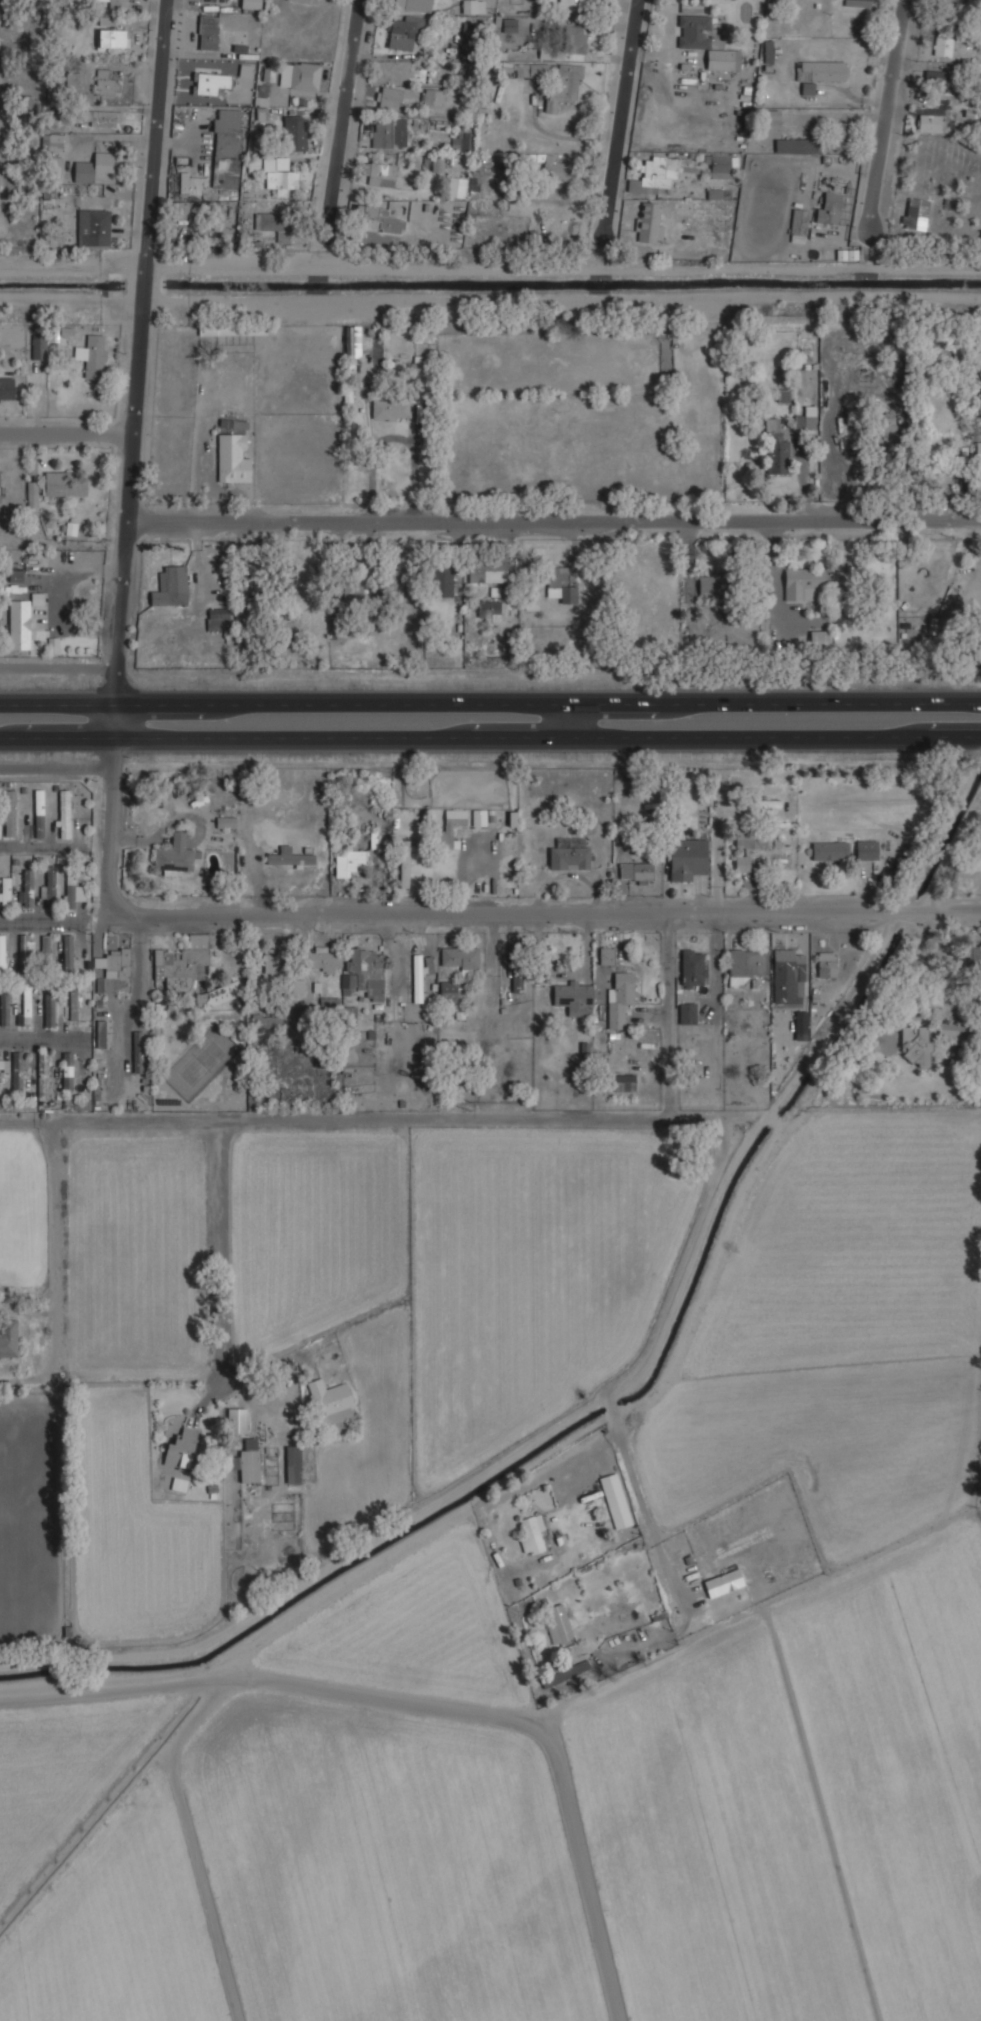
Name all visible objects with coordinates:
building: (302, 0)
building: (573, 2)
building: (856, 2)
building: (117, 4)
building: (250, 4)
building: (417, 5)
building: (106, 20)
building: (509, 25)
building: (404, 30)
building: (208, 31)
building: (465, 36)
building: (112, 37)
building: (703, 37)
building: (572, 39)
building: (942, 44)
building: (526, 68)
building: (818, 72)
building: (299, 74)
building: (268, 75)
building: (932, 76)
building: (73, 78)
building: (210, 82)
building: (419, 82)
building: (105, 83)
building: (563, 85)
building: (390, 97)
building: (261, 108)
building: (106, 117)
road: (885, 120)
road: (344, 121)
road: (614, 121)
building: (768, 122)
building: (931, 122)
building: (388, 131)
building: (296, 132)
building: (840, 135)
building: (465, 138)
building: (51, 140)
building: (224, 145)
building: (794, 145)
building: (437, 162)
building: (56, 163)
building: (720, 165)
building: (93, 167)
building: (556, 168)
building: (379, 173)
building: (655, 173)
building: (278, 177)
building: (189, 182)
building: (455, 186)
building: (829, 206)
building: (914, 213)
building: (380, 218)
building: (268, 220)
building: (798, 221)
building: (648, 222)
building: (95, 228)
building: (211, 239)
building: (231, 329)
building: (353, 341)
building: (38, 347)
building: (92, 355)
building: (350, 364)
building: (6, 389)
building: (389, 408)
building: (810, 416)
building: (798, 421)
building: (886, 424)
road: (68, 438)
building: (978, 451)
building: (233, 456)
building: (777, 456)
road: (134, 457)
building: (64, 483)
building: (31, 493)
road: (555, 523)
building: (487, 571)
building: (16, 575)
building: (357, 579)
building: (249, 580)
building: (441, 580)
building: (802, 580)
building: (711, 583)
building: (170, 584)
building: (559, 588)
building: (488, 610)
building: (217, 618)
building: (19, 624)
building: (819, 638)
road: (61, 668)
road: (60, 702)
road: (550, 702)
road: (569, 720)
road: (490, 737)
building: (770, 802)
building: (9, 812)
building: (38, 812)
building: (64, 812)
building: (479, 816)
building: (512, 819)
building: (225, 822)
building: (449, 827)
building: (750, 839)
road: (38, 846)
building: (844, 849)
building: (569, 853)
building: (174, 856)
building: (289, 856)
building: (686, 856)
building: (349, 861)
building: (741, 862)
building: (404, 868)
building: (635, 872)
building: (26, 886)
building: (49, 886)
building: (72, 886)
building: (4, 891)
road: (544, 913)
road: (39, 921)
building: (2, 953)
building: (46, 953)
building: (69, 954)
building: (24, 955)
building: (606, 955)
building: (970, 956)
building: (324, 958)
building: (460, 958)
building: (113, 961)
building: (788, 961)
building: (271, 962)
building: (826, 963)
building: (745, 965)
building: (515, 967)
building: (692, 967)
building: (191, 971)
building: (364, 972)
building: (419, 972)
building: (297, 984)
building: (447, 990)
building: (573, 996)
building: (619, 996)
building: (329, 1002)
building: (73, 1004)
building: (48, 1005)
building: (26, 1006)
building: (4, 1008)
building: (686, 1012)
road: (668, 1015)
building: (953, 1030)
building: (299, 1031)
building: (100, 1033)
road: (38, 1039)
building: (915, 1043)
building: (137, 1051)
building: (978, 1051)
park: (201, 1061)
building: (3, 1065)
building: (67, 1070)
building: (18, 1071)
building: (42, 1075)
building: (623, 1081)
power tower: (466, 1103)
road: (672, 1118)
road: (717, 1254)
road: (223, 1270)
crop: (534, 1275)
crop: (207, 1325)
crop: (841, 1328)
building: (8, 1336)
road: (7, 1382)
building: (330, 1400)
building: (235, 1419)
building: (180, 1448)
building: (247, 1459)
building: (292, 1463)
building: (615, 1500)
building: (531, 1534)
building: (722, 1582)
building: (556, 1623)
building: (564, 1672)
road: (106, 1683)
road: (295, 1684)
crop: (66, 1783)
crop: (803, 1811)
crop: (385, 1869)
crop: (116, 1932)

